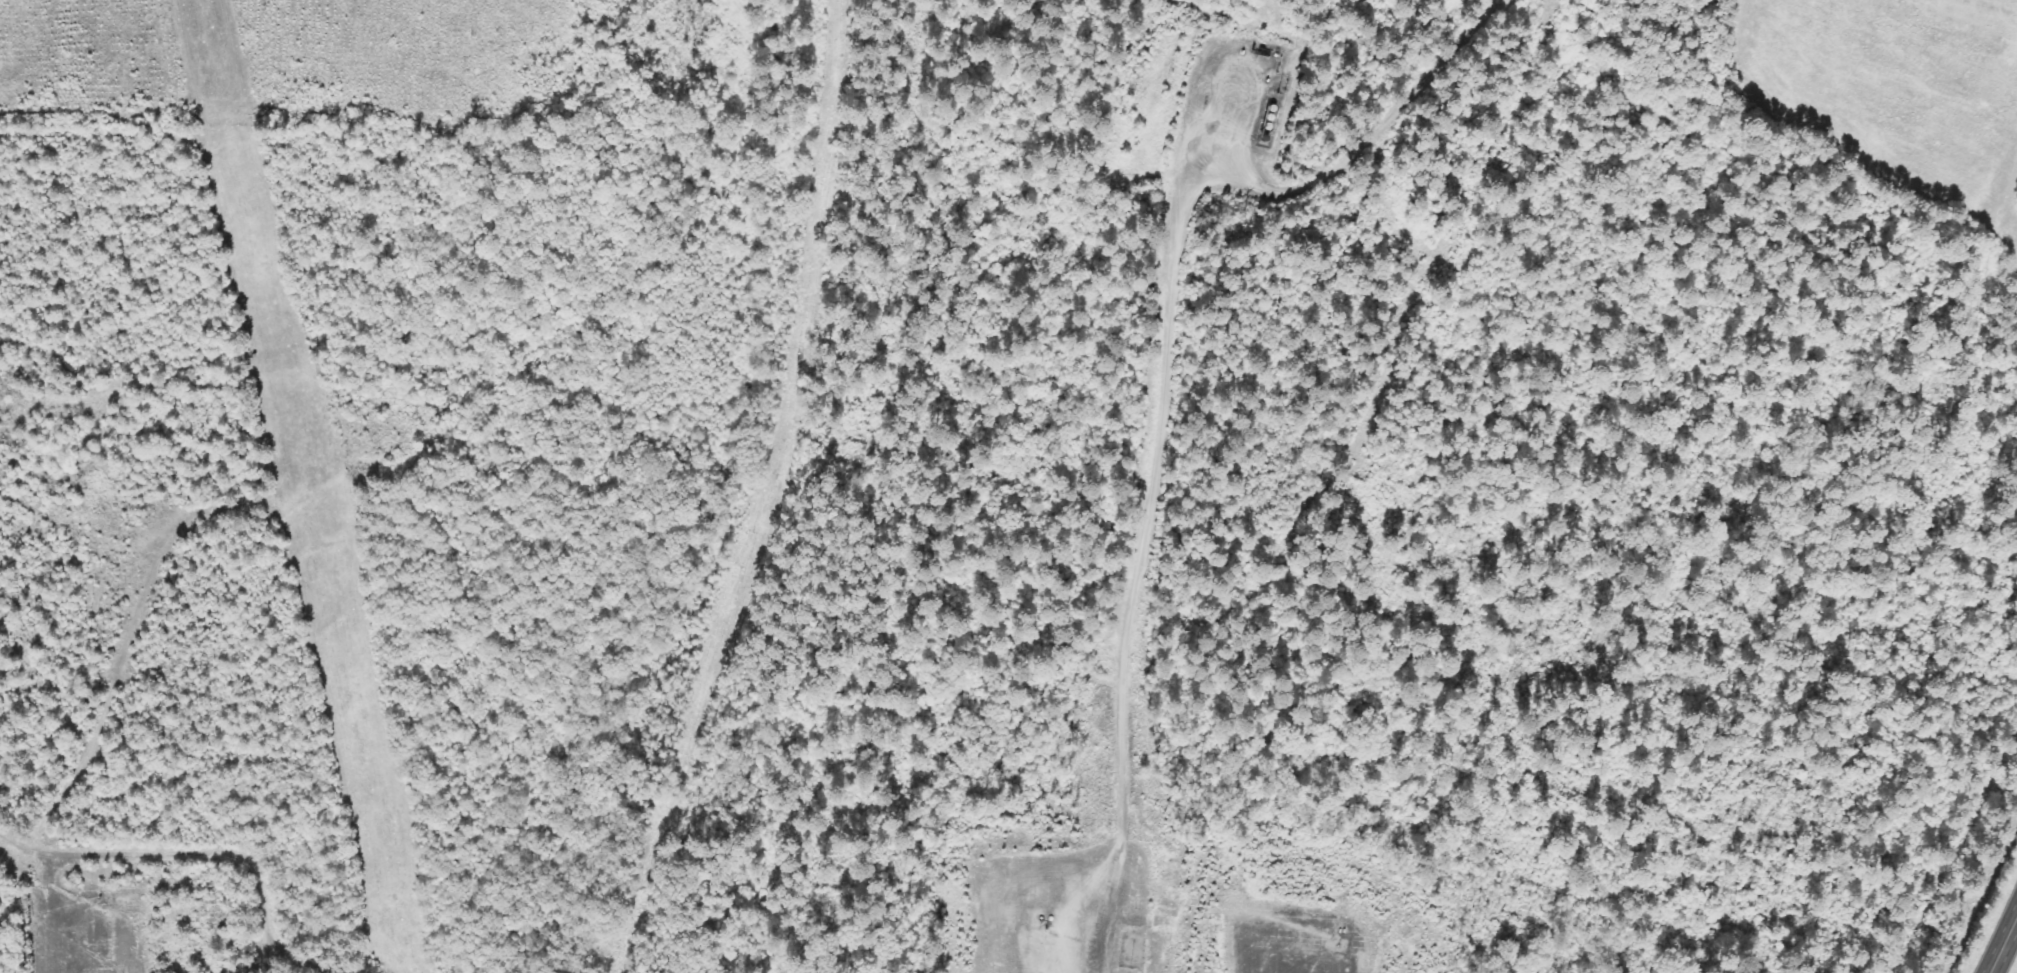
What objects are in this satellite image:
road: (2003, 945)

